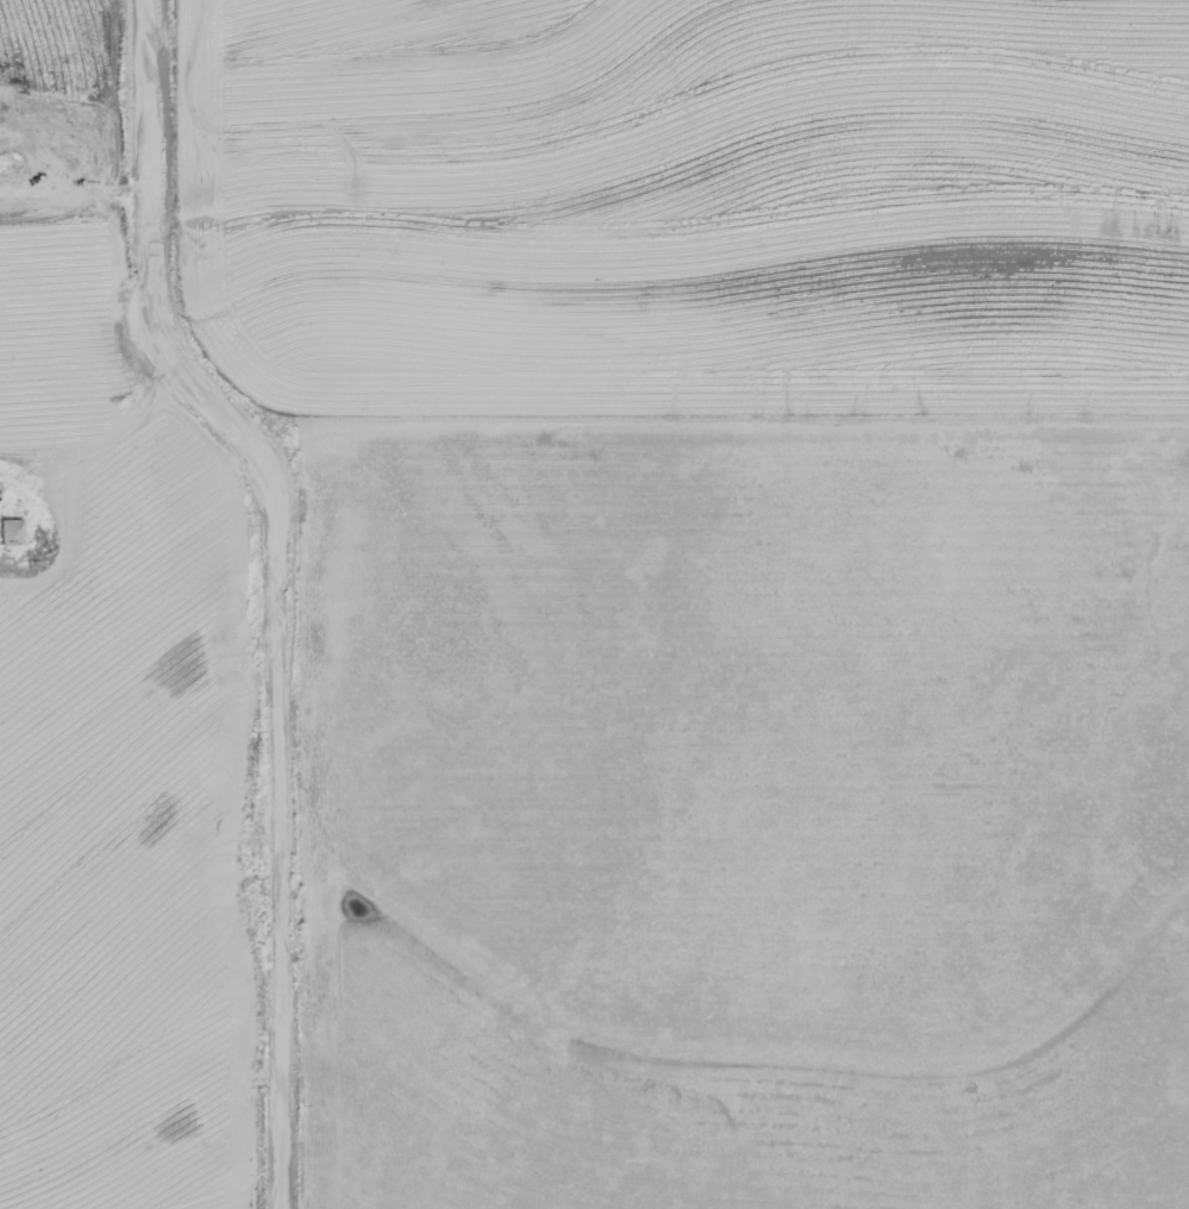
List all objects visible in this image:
building: (1, 493)
building: (14, 533)
road: (284, 585)

